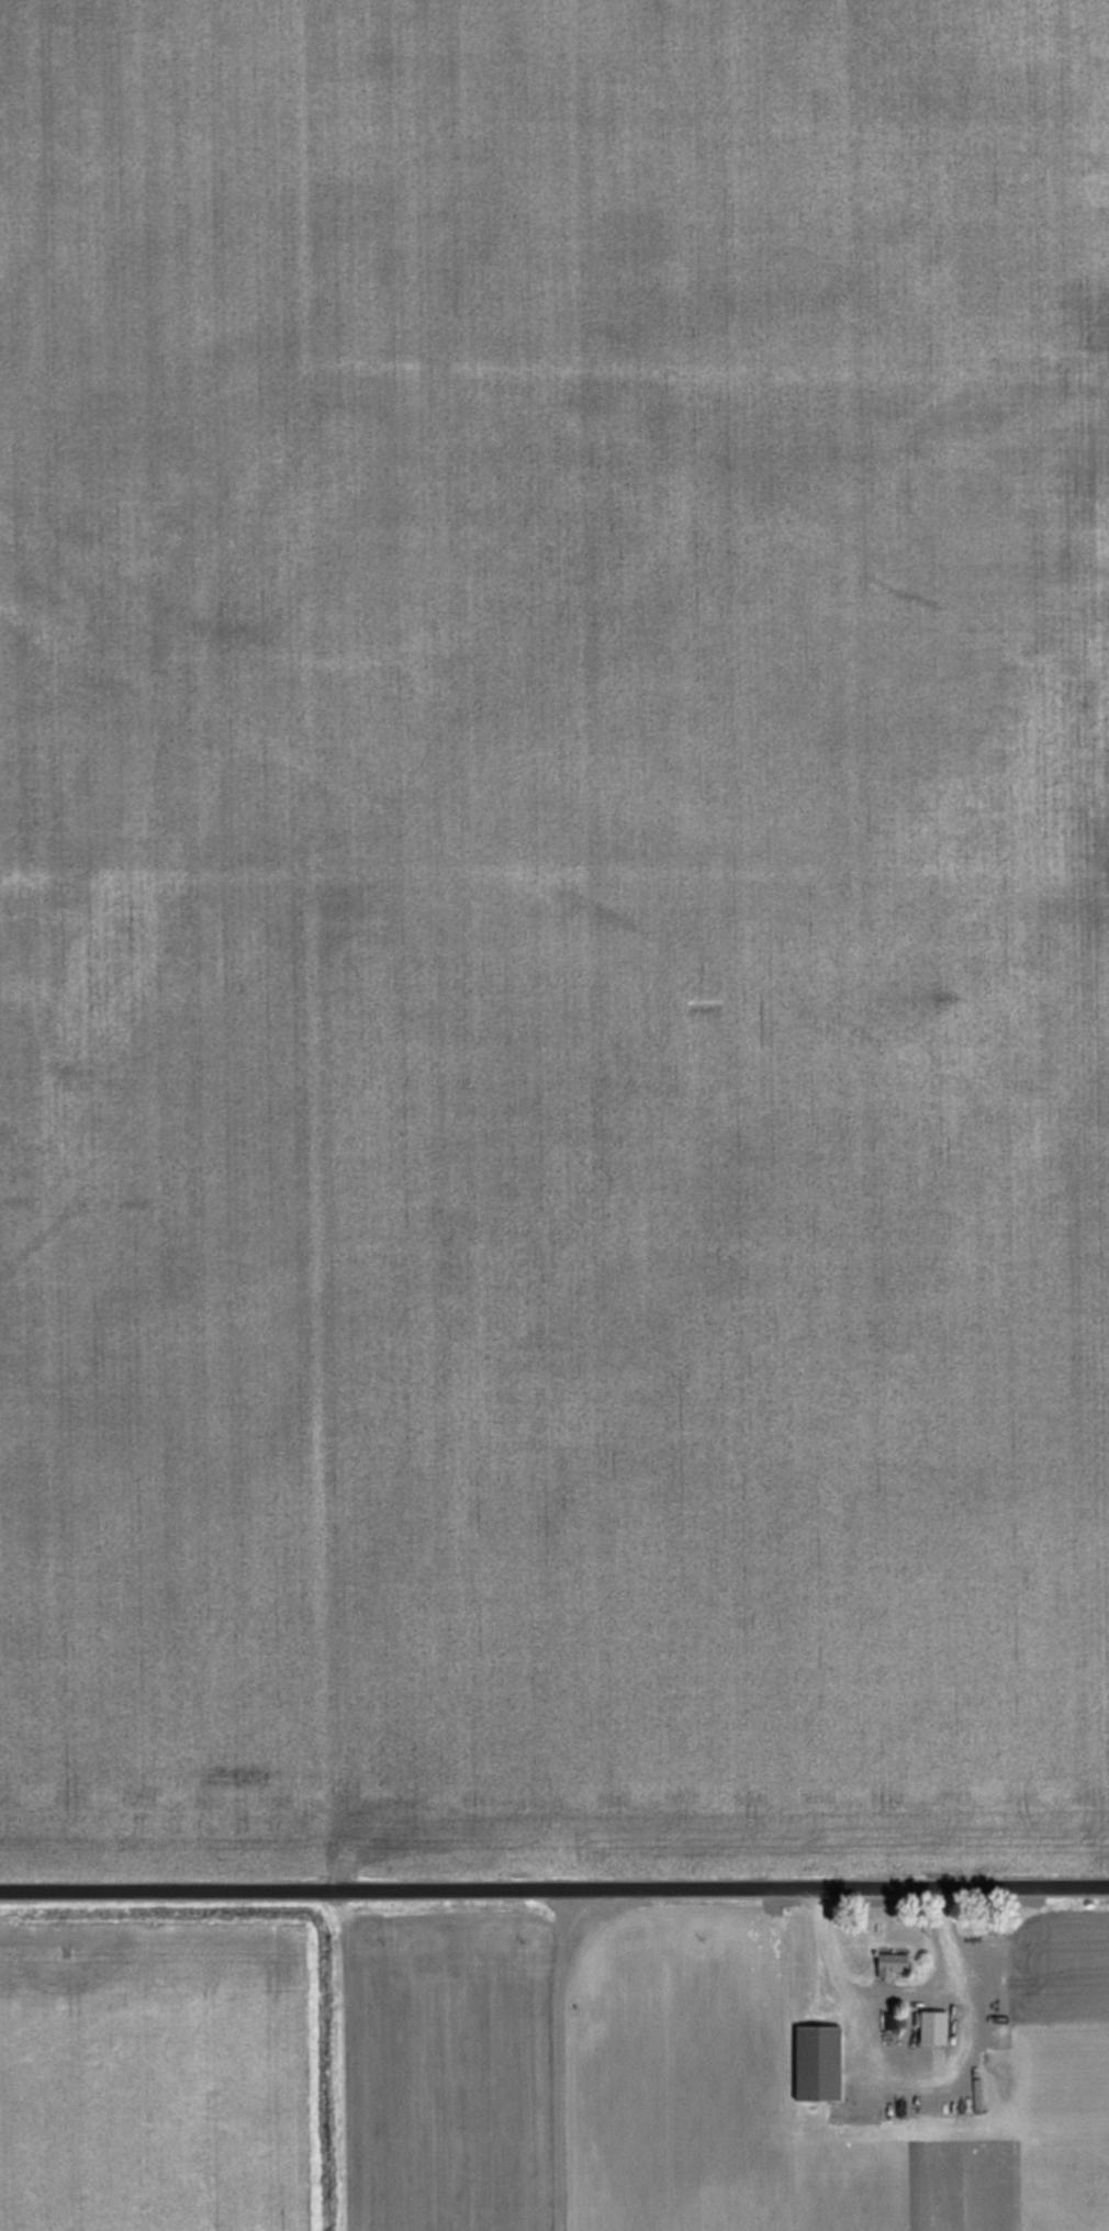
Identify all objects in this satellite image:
road: (553, 1894)
building: (890, 1963)
building: (960, 1977)
building: (931, 2025)
building: (815, 2061)
road: (556, 2062)

